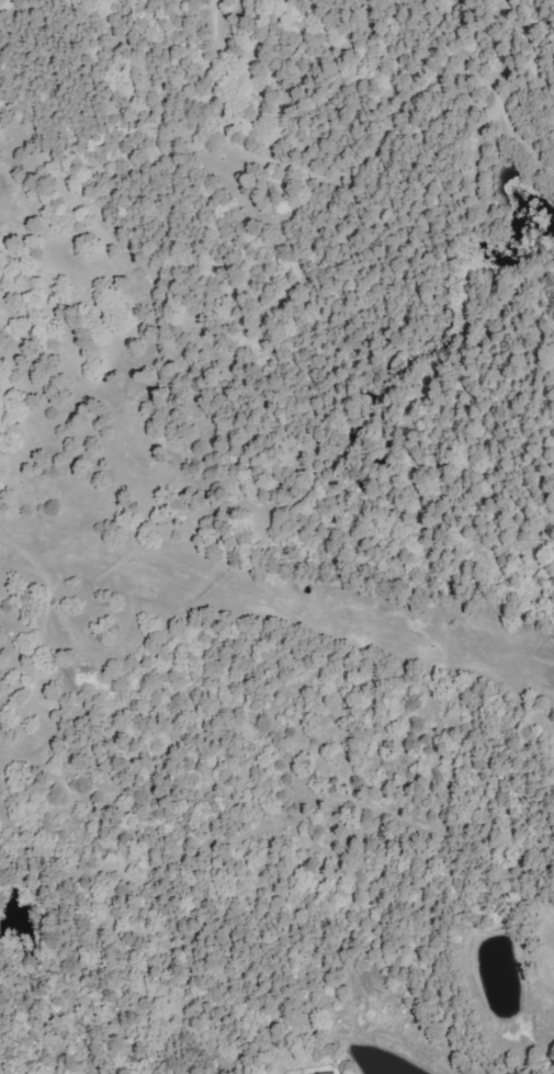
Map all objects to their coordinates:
building: (335, 1073)

